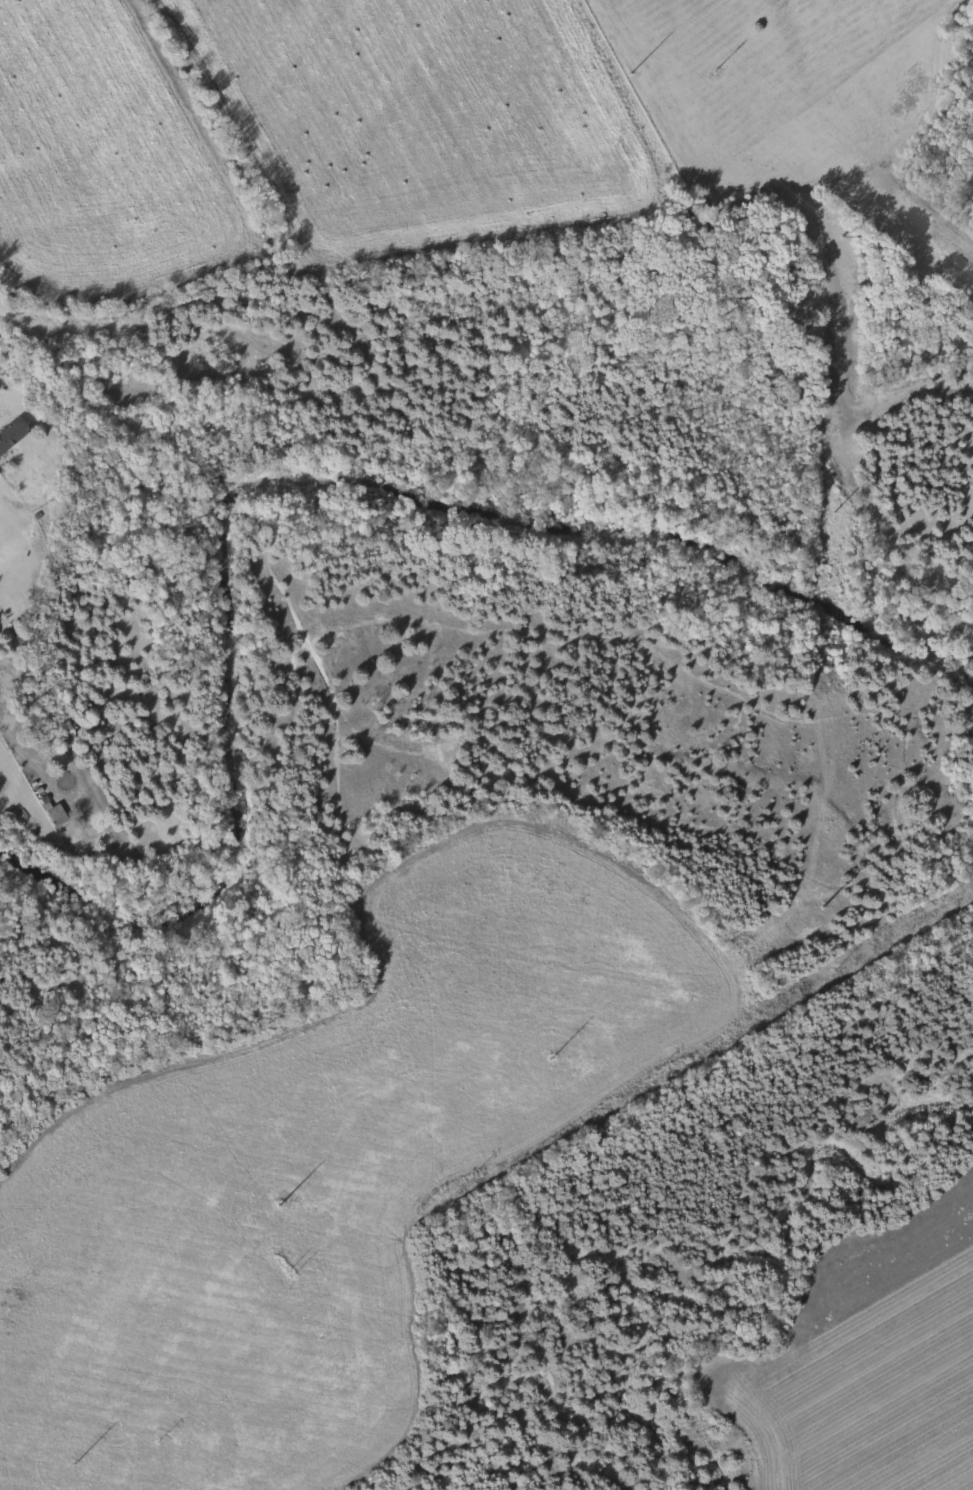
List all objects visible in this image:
building: (13, 433)
building: (106, 691)

